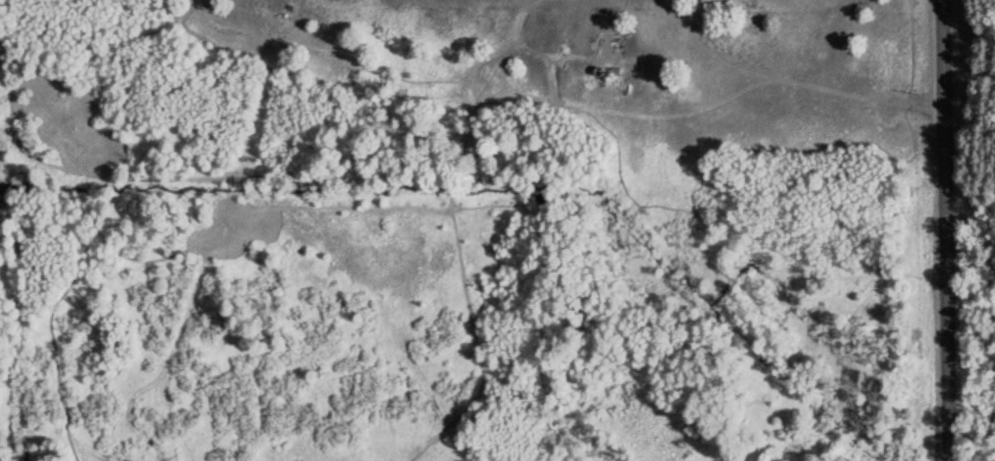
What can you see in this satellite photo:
road: (944, 230)

